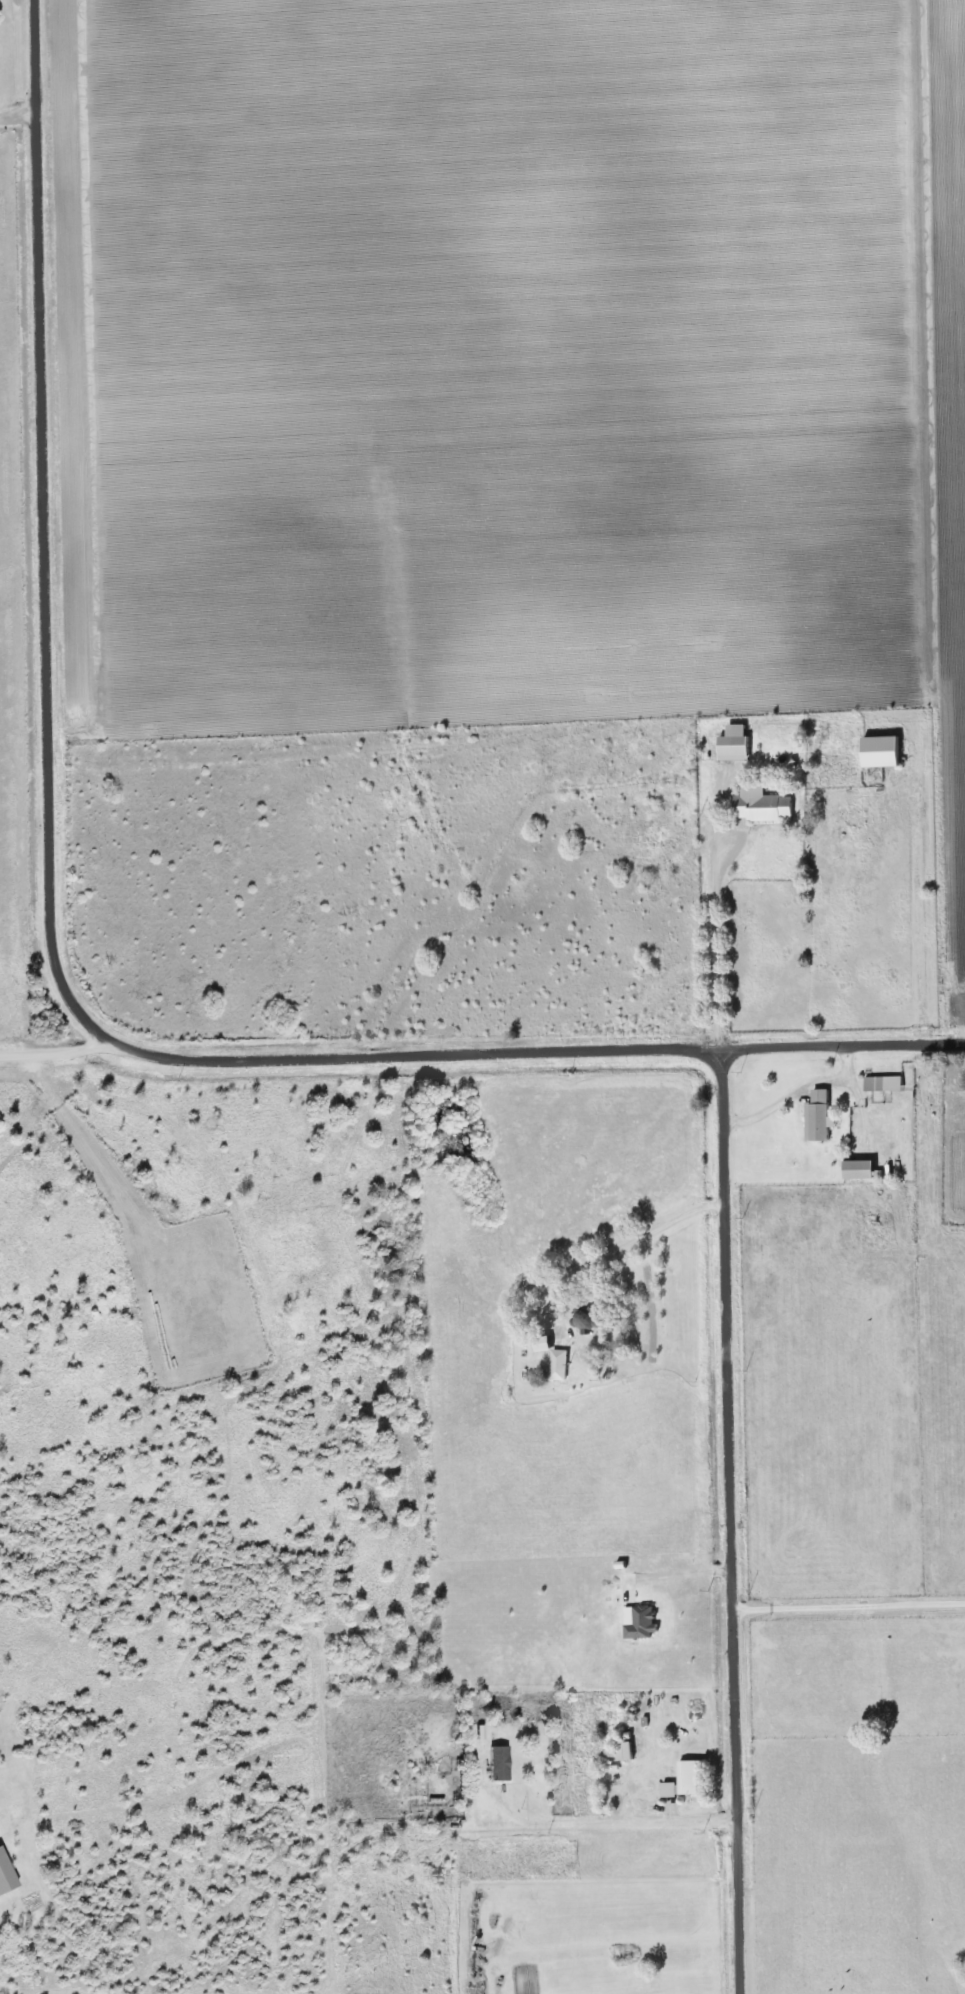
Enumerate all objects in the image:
road: (16, 115)
building: (734, 750)
building: (755, 805)
road: (719, 933)
road: (837, 1047)
road: (53, 1053)
road: (349, 1057)
building: (883, 1084)
building: (818, 1117)
building: (859, 1169)
road: (618, 1256)
building: (586, 1320)
building: (558, 1365)
road: (850, 1606)
building: (624, 1752)
building: (496, 1764)
building: (678, 1782)
road: (619, 1818)

